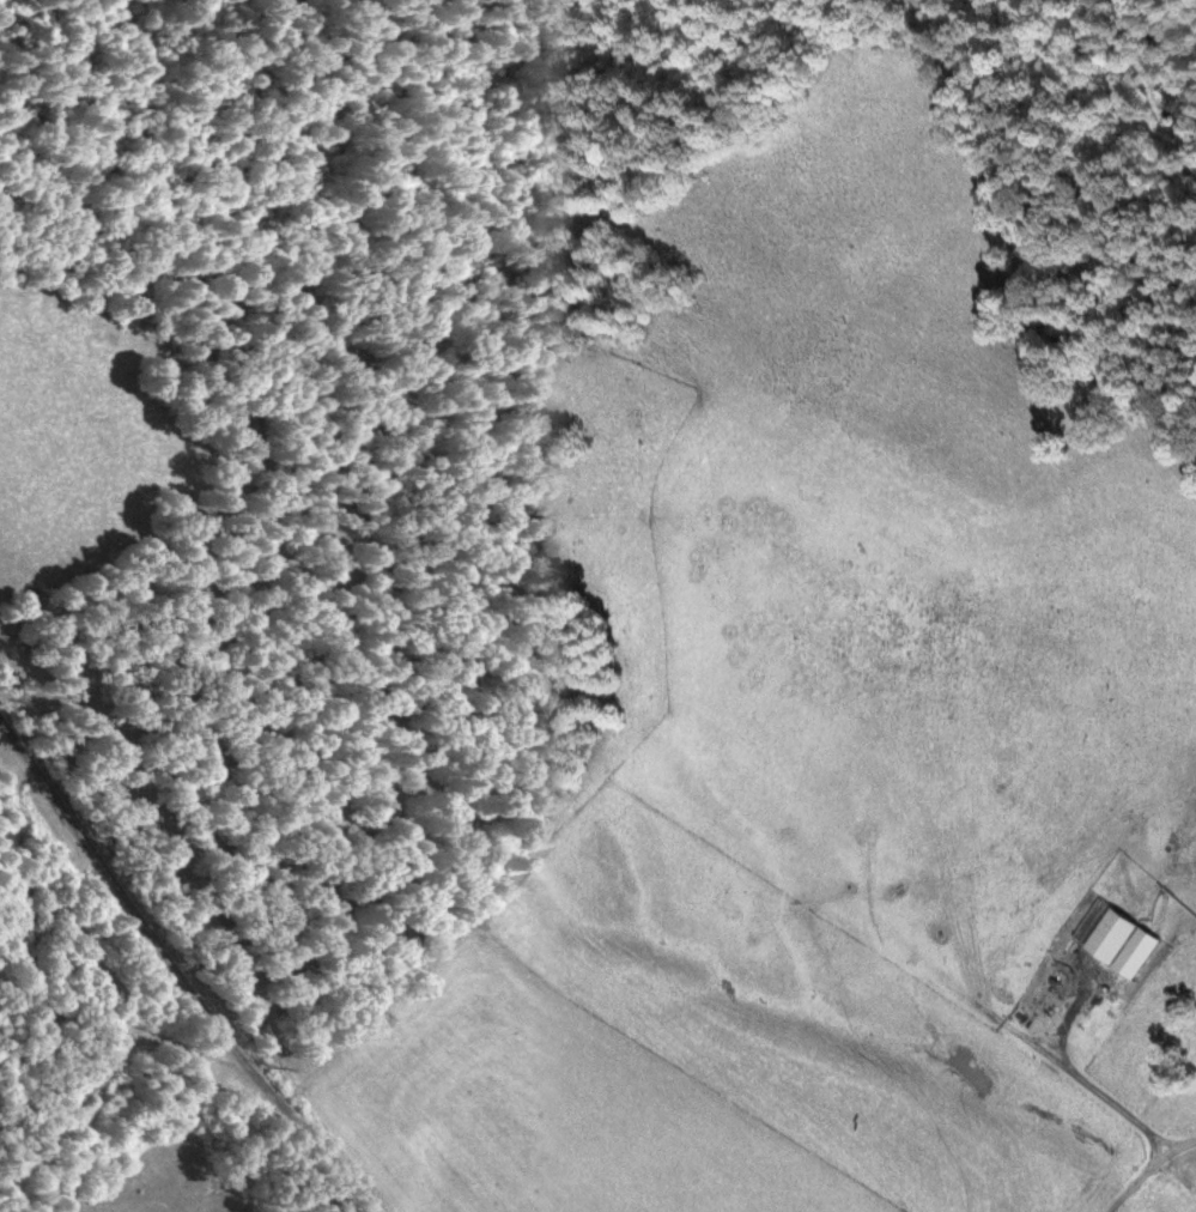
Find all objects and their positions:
building: (1122, 945)
road: (176, 1023)

